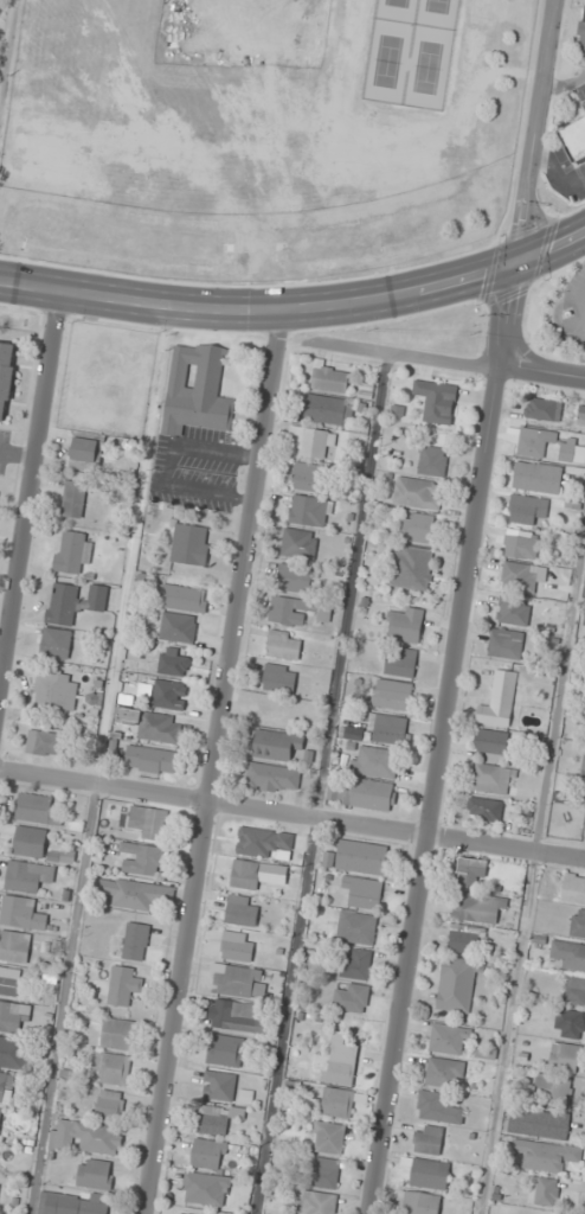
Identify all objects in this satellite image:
building: (581, 31)
road: (7, 51)
road: (564, 82)
road: (554, 174)
road: (526, 184)
traffic signals: (515, 264)
road: (297, 308)
road: (410, 356)
road: (541, 373)
building: (6, 376)
building: (330, 378)
building: (195, 389)
building: (437, 401)
building: (328, 409)
building: (542, 409)
building: (314, 441)
building: (534, 442)
building: (572, 451)
building: (85, 453)
road: (17, 454)
building: (432, 461)
building: (308, 477)
building: (536, 477)
road: (28, 483)
building: (120, 493)
building: (416, 493)
building: (73, 498)
building: (526, 510)
building: (309, 511)
building: (419, 528)
building: (300, 543)
building: (189, 544)
building: (520, 547)
building: (73, 552)
building: (412, 567)
building: (521, 576)
building: (294, 577)
building: (97, 598)
building: (182, 598)
building: (63, 603)
building: (296, 611)
building: (513, 611)
building: (405, 625)
building: (179, 627)
building: (56, 643)
building: (506, 643)
building: (283, 644)
road: (1, 652)
building: (174, 662)
building: (401, 662)
building: (279, 677)
road: (559, 683)
building: (54, 689)
building: (169, 694)
building: (392, 694)
building: (94, 699)
building: (499, 701)
building: (153, 724)
building: (387, 729)
building: (491, 741)
building: (45, 742)
building: (276, 743)
building: (150, 759)
road: (99, 760)
building: (377, 761)
road: (213, 762)
building: (584, 766)
building: (272, 777)
building: (490, 778)
road: (319, 782)
road: (430, 791)
building: (369, 794)
building: (37, 809)
building: (484, 809)
road: (291, 814)
building: (149, 820)
building: (30, 841)
building: (265, 843)
building: (362, 857)
building: (142, 858)
building: (471, 871)
building: (246, 874)
building: (28, 876)
building: (573, 888)
building: (364, 892)
building: (128, 893)
building: (478, 907)
building: (242, 910)
building: (22, 913)
building: (578, 922)
building: (356, 927)
building: (465, 939)
building: (136, 941)
building: (14, 945)
building: (237, 946)
building: (567, 954)
building: (356, 963)
building: (9, 980)
building: (236, 980)
building: (457, 983)
building: (124, 985)
building: (574, 990)
building: (351, 997)
building: (237, 1015)
building: (14, 1017)
building: (570, 1023)
building: (118, 1033)
road: (506, 1033)
building: (449, 1039)
building: (226, 1050)
building: (12, 1052)
building: (565, 1056)
building: (343, 1061)
building: (112, 1067)
building: (445, 1072)
building: (219, 1086)
building: (5, 1087)
building: (553, 1088)
building: (337, 1101)
building: (110, 1104)
building: (438, 1107)
building: (216, 1118)
building: (539, 1123)
building: (85, 1137)
building: (328, 1137)
building: (429, 1139)
building: (207, 1154)
building: (546, 1155)
building: (427, 1171)
building: (96, 1173)
building: (324, 1173)
building: (205, 1189)
building: (544, 1190)
building: (73, 1202)
building: (315, 1202)
building: (420, 1202)

